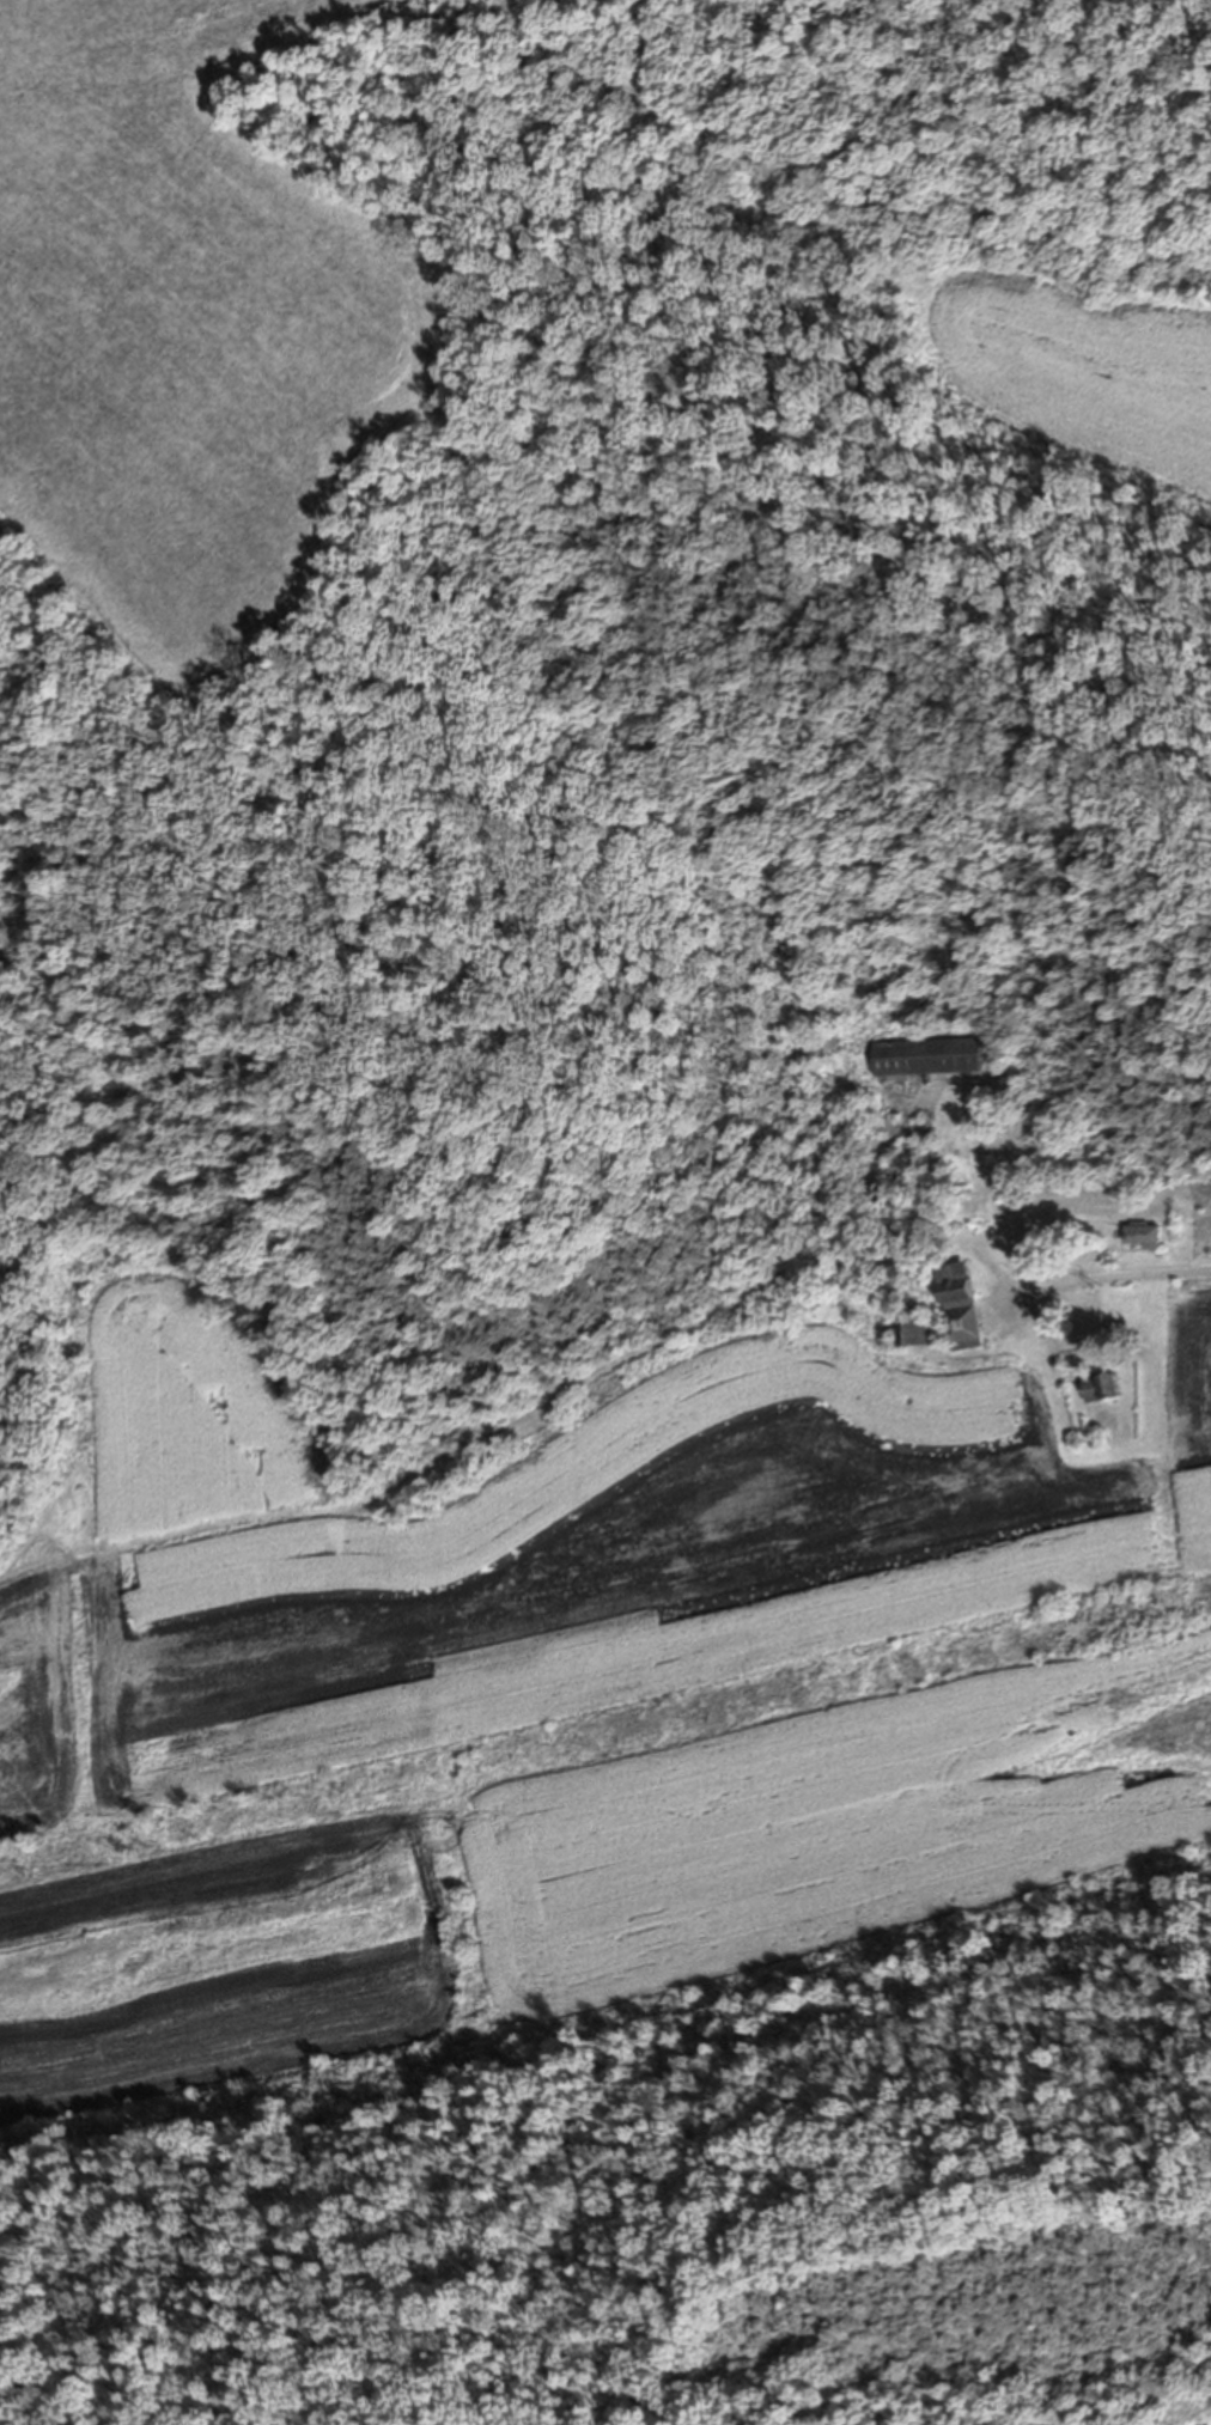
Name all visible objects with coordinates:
building: (929, 1055)
building: (1145, 1235)
building: (1028, 1245)
building: (1033, 1263)
road: (1110, 1277)
building: (959, 1305)
building: (915, 1327)
building: (1103, 1384)

